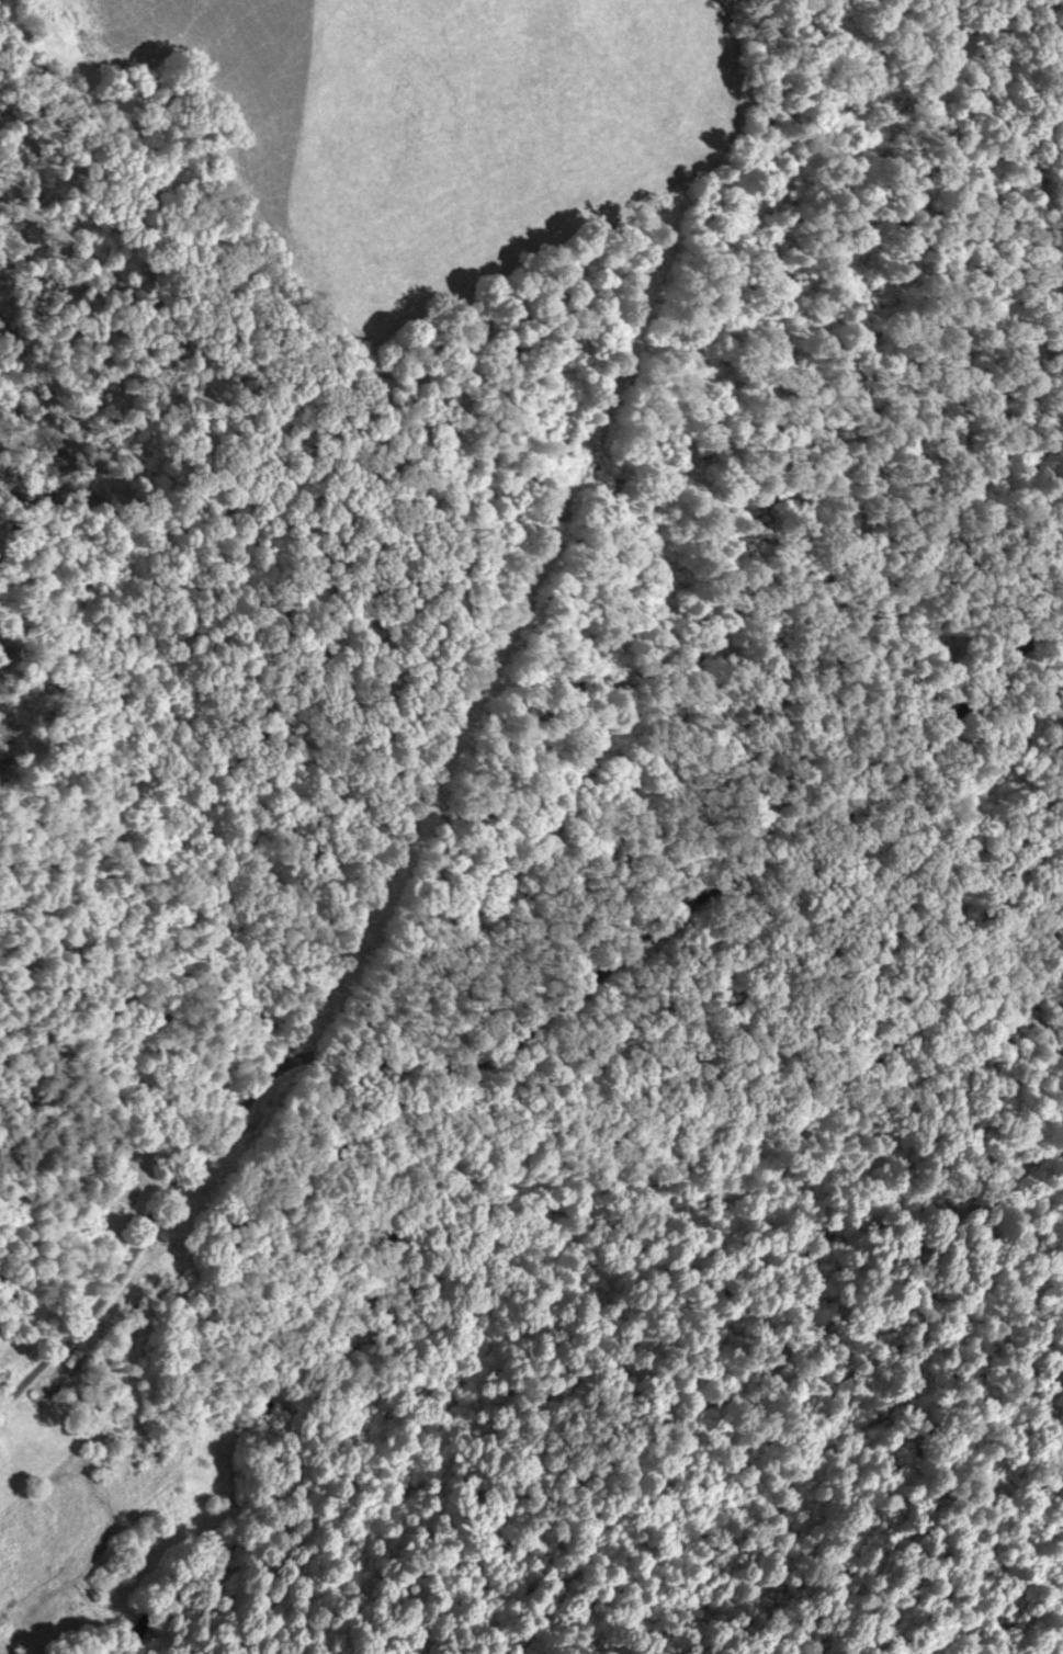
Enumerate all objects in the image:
road: (1061, 630)
road: (540, 1010)

